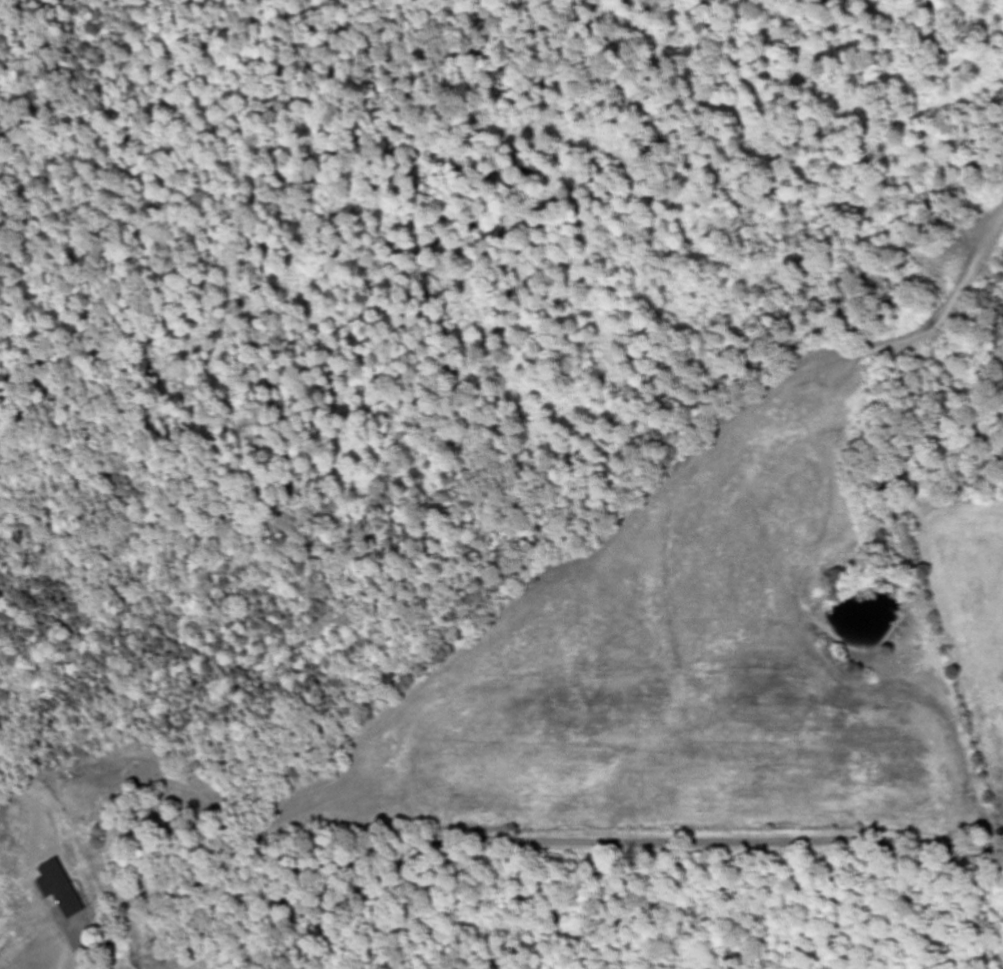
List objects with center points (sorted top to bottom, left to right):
road: (607, 844)
building: (53, 880)

